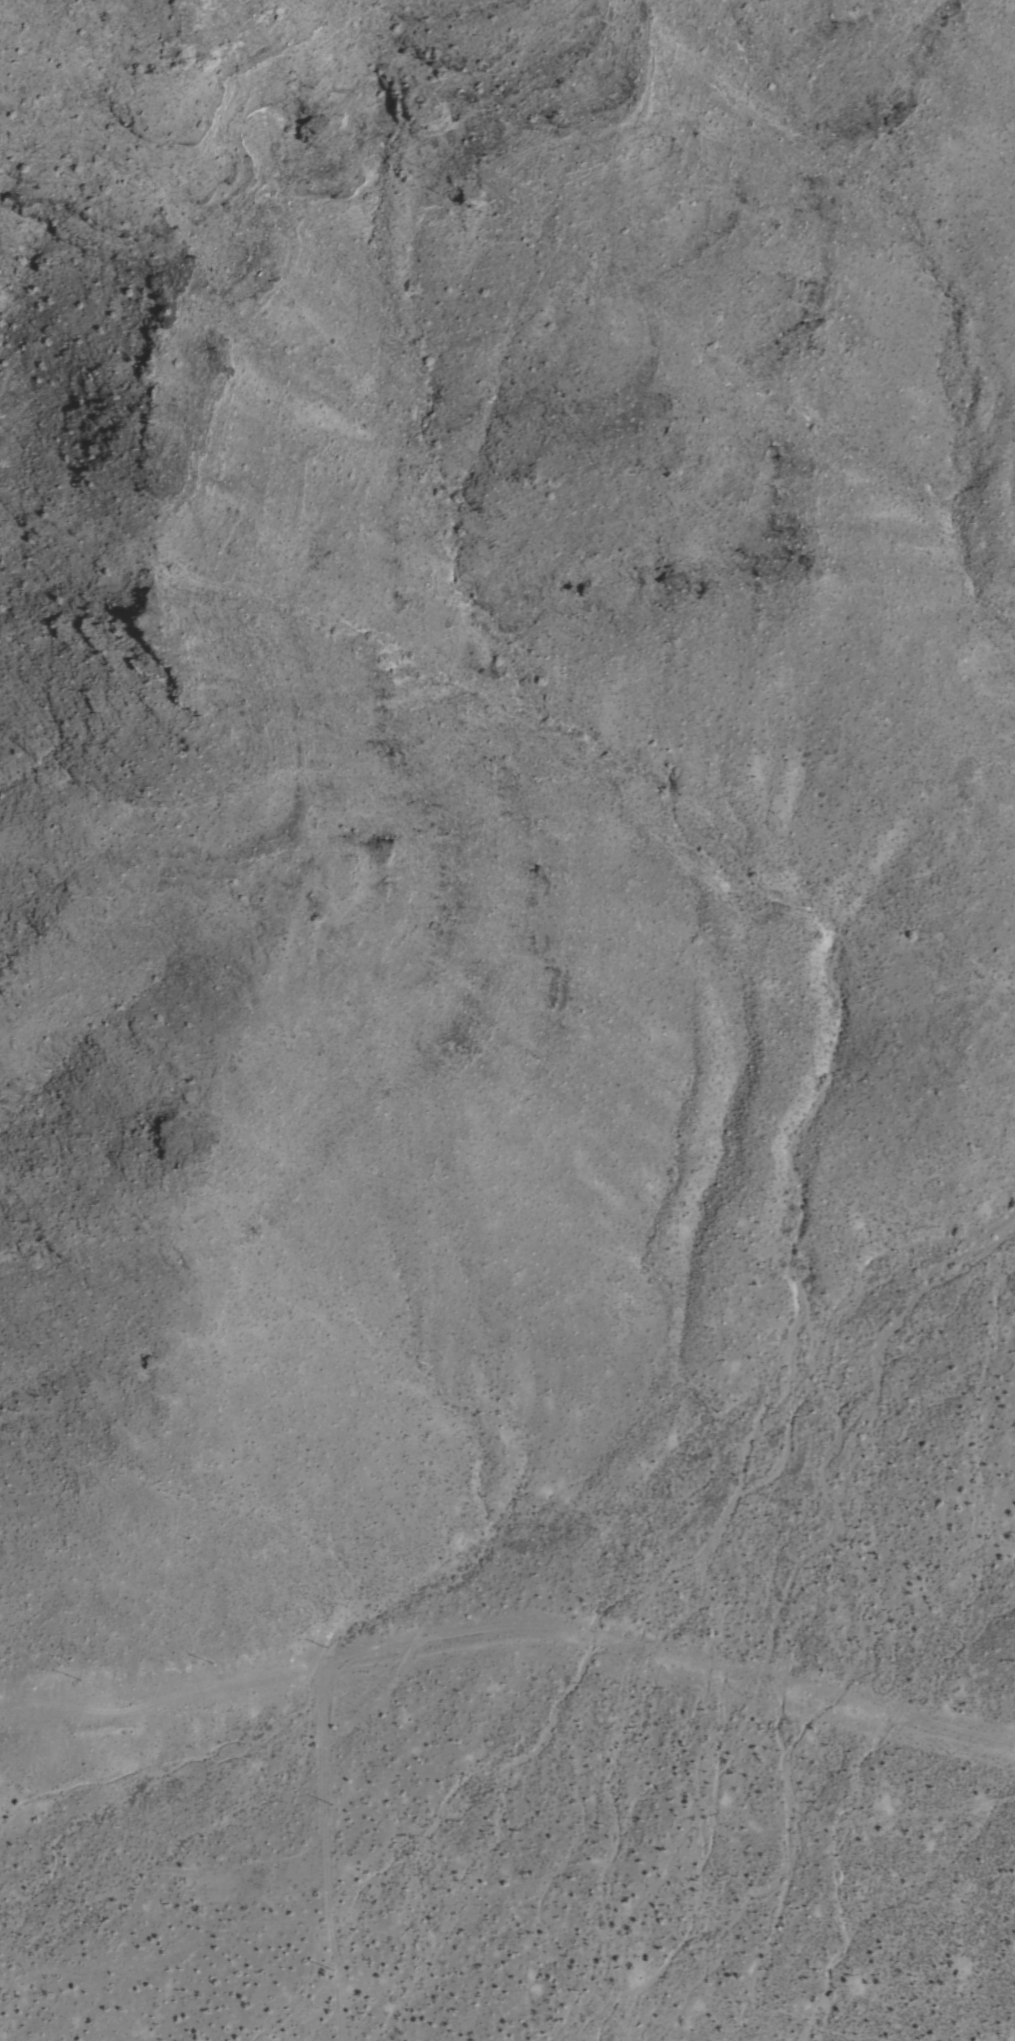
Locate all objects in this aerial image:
road: (482, 1633)
road: (162, 1698)

